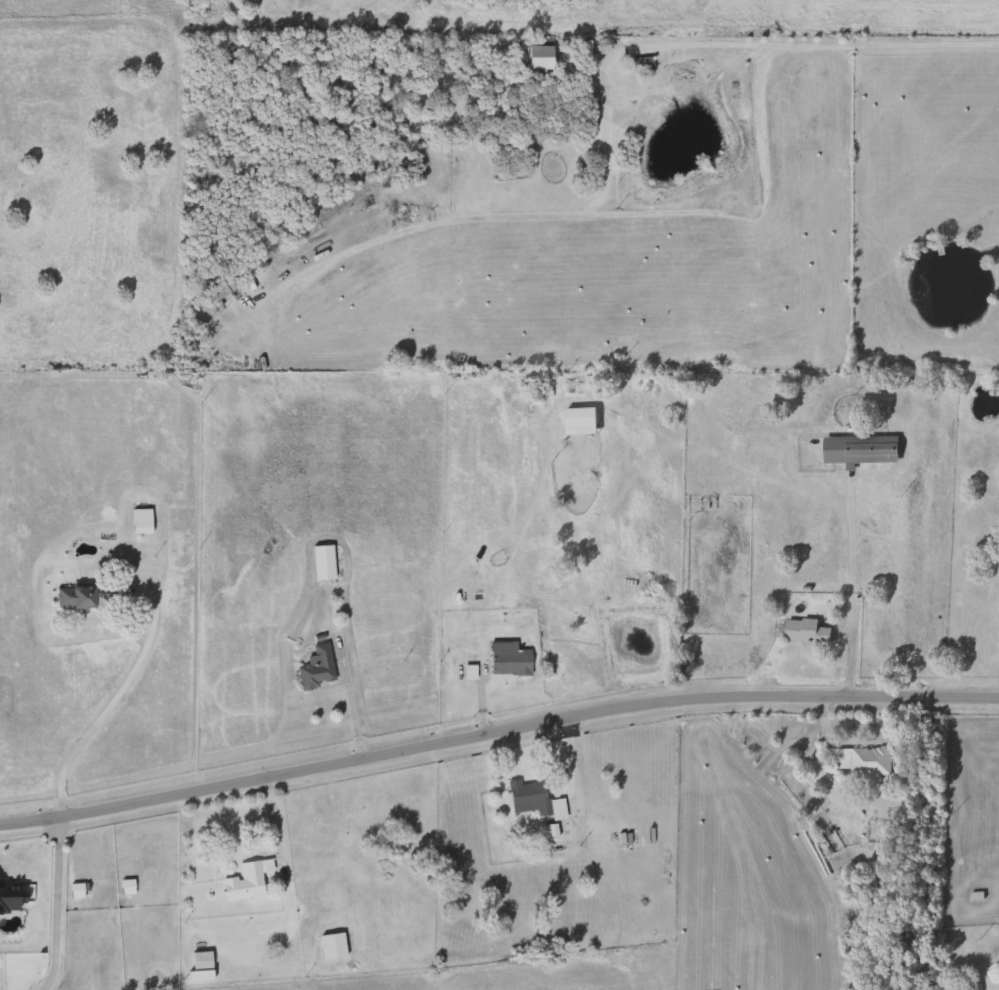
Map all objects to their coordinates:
road: (801, 46)
building: (531, 58)
building: (509, 150)
building: (228, 286)
building: (857, 449)
building: (138, 521)
building: (320, 562)
road: (850, 594)
building: (82, 595)
building: (803, 630)
building: (505, 659)
building: (314, 667)
road: (102, 709)
road: (496, 732)
building: (859, 760)
building: (530, 799)
building: (245, 880)
road: (55, 907)
building: (331, 945)
building: (199, 966)

